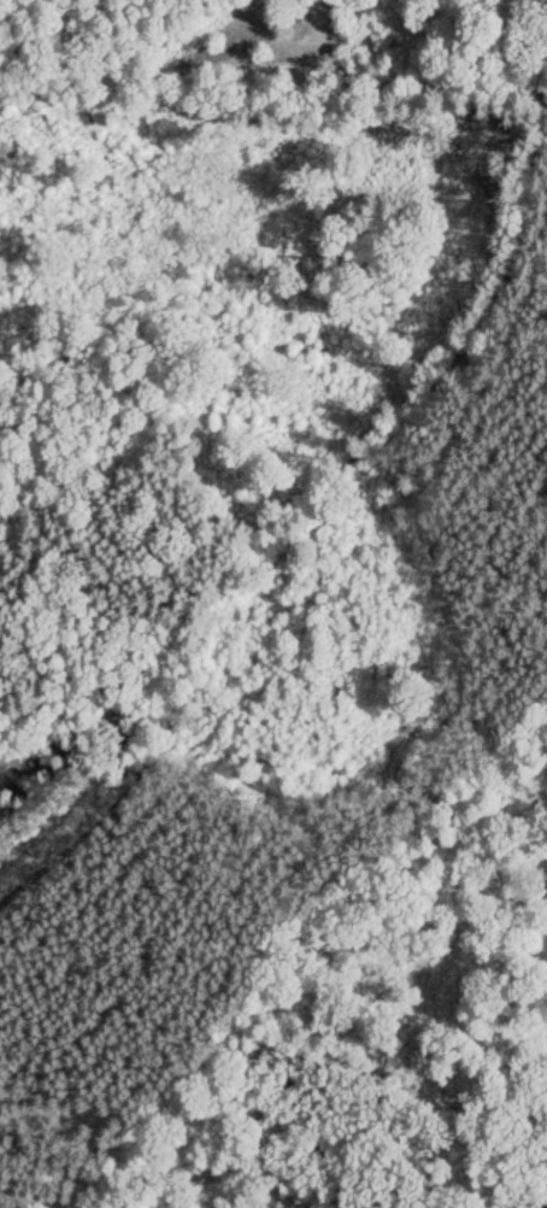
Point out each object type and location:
road: (282, 769)

